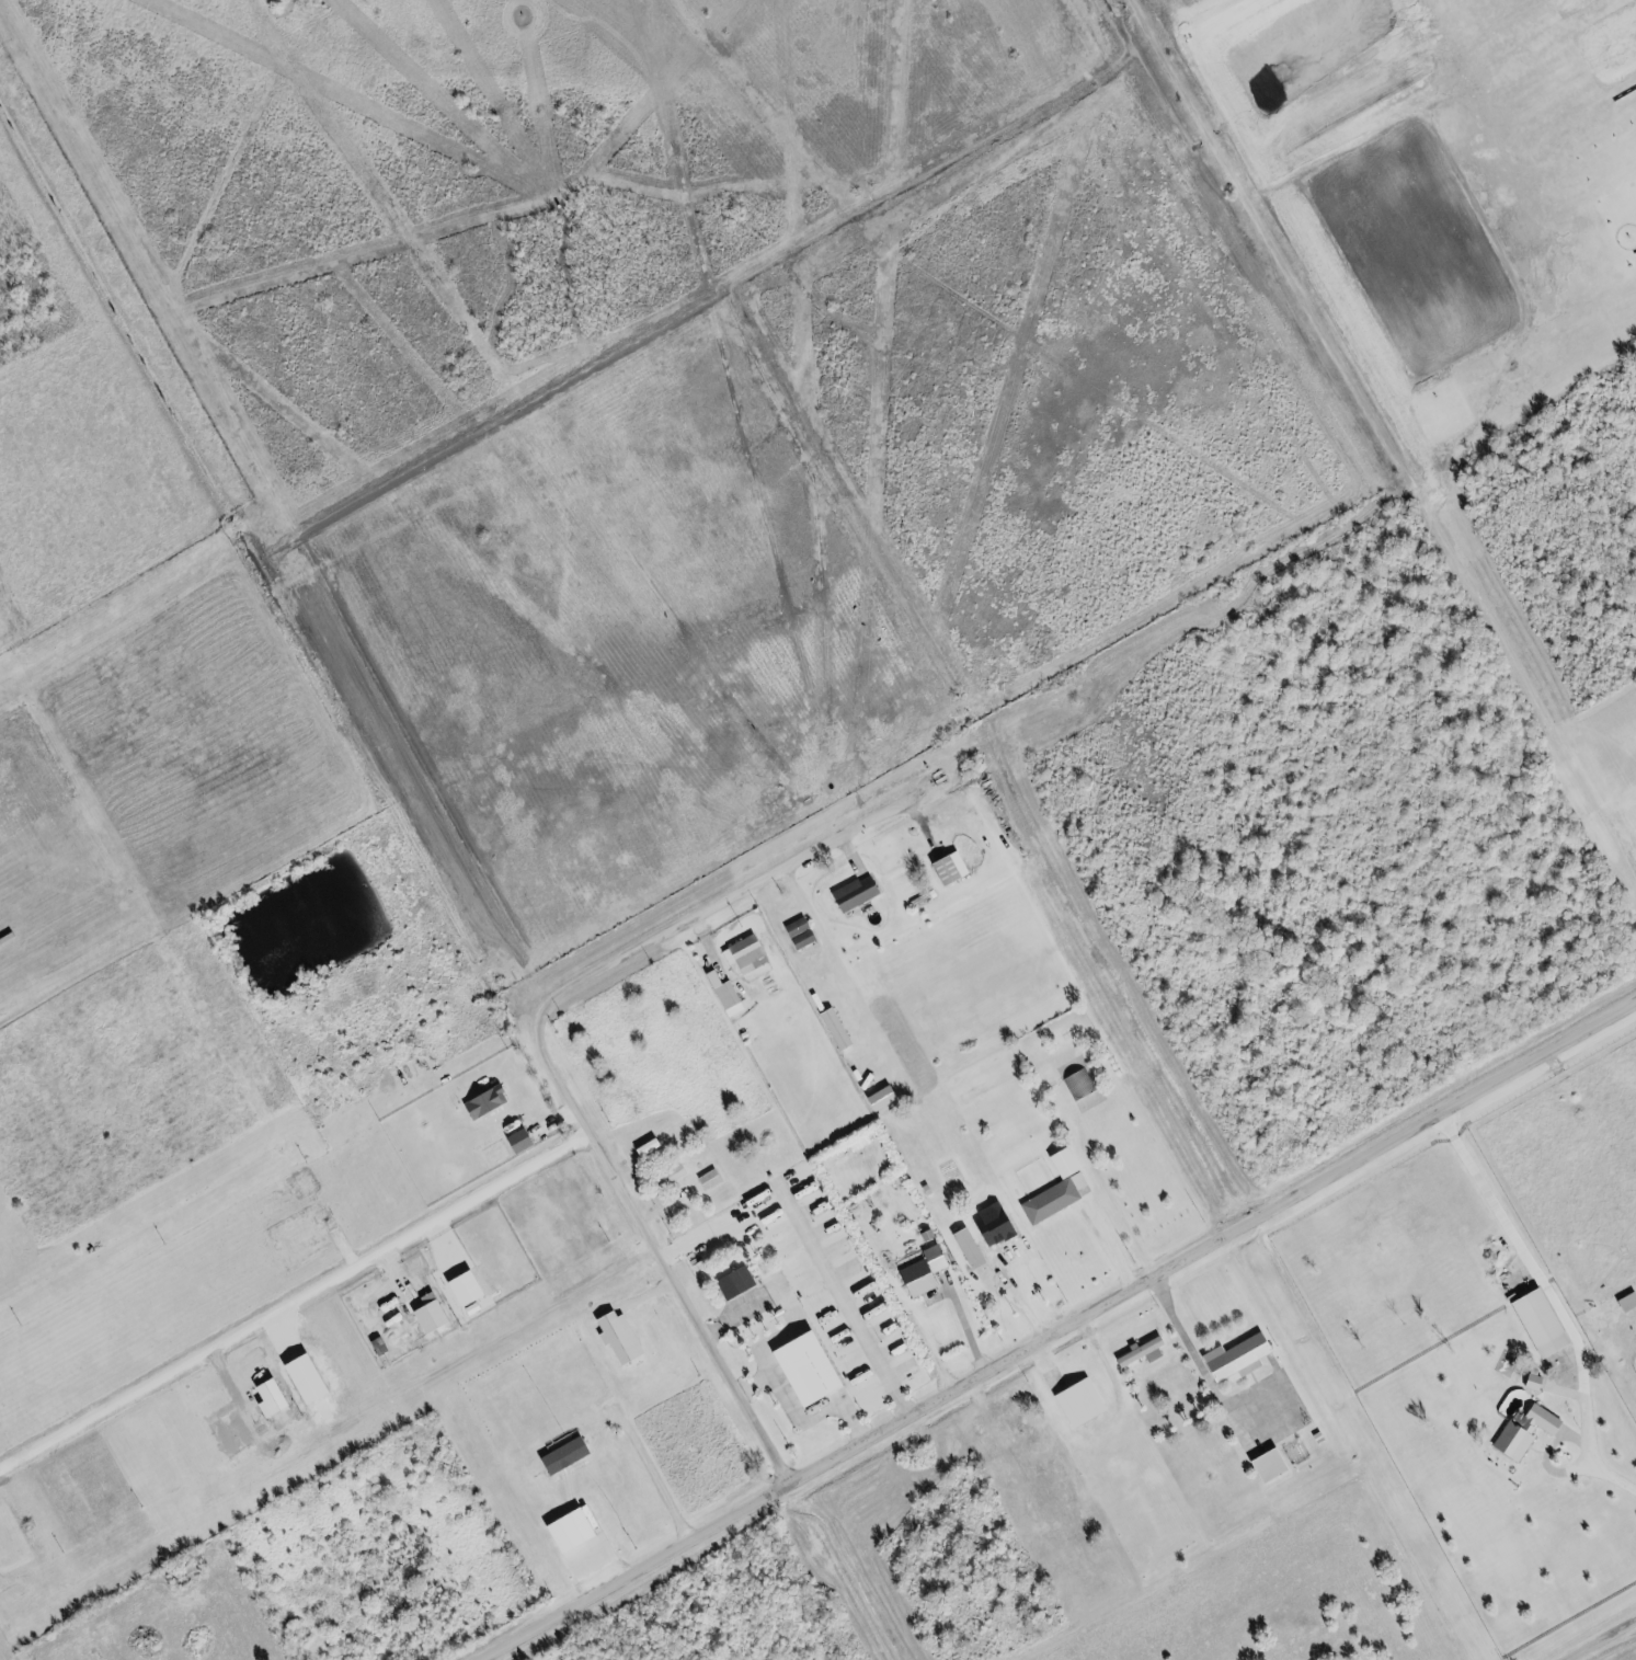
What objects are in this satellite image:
building: (953, 868)
building: (858, 893)
building: (802, 932)
building: (750, 953)
building: (731, 994)
road: (547, 1067)
building: (1079, 1086)
building: (492, 1102)
building: (525, 1141)
building: (1053, 1201)
building: (982, 1250)
building: (927, 1271)
building: (739, 1283)
building: (476, 1292)
road: (1551, 1308)
road: (1059, 1331)
building: (1143, 1352)
building: (1240, 1358)
building: (813, 1369)
building: (1535, 1383)
building: (1083, 1404)
building: (1528, 1432)
building: (585, 1538)
road: (1599, 1638)

